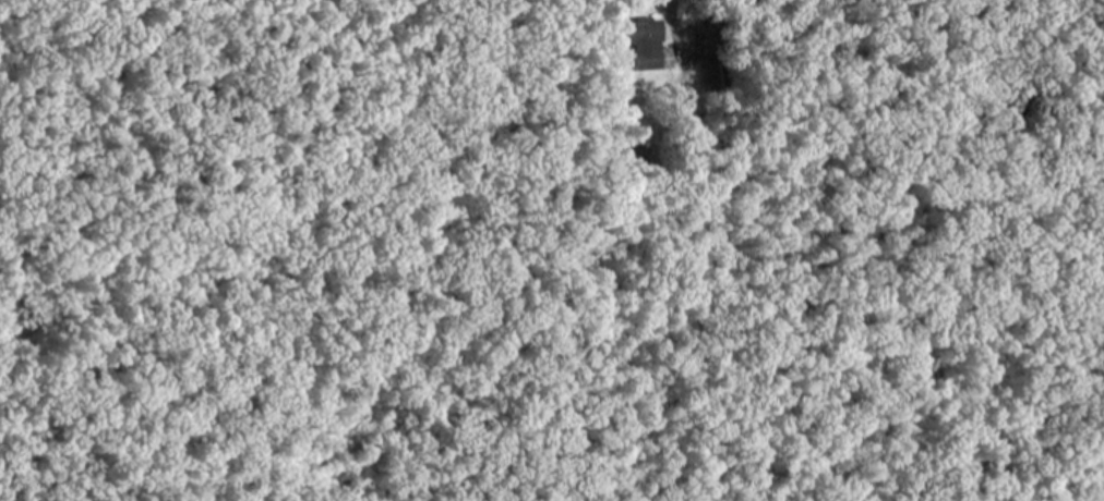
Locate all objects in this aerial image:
building: (647, 45)
building: (711, 71)
building: (633, 156)

